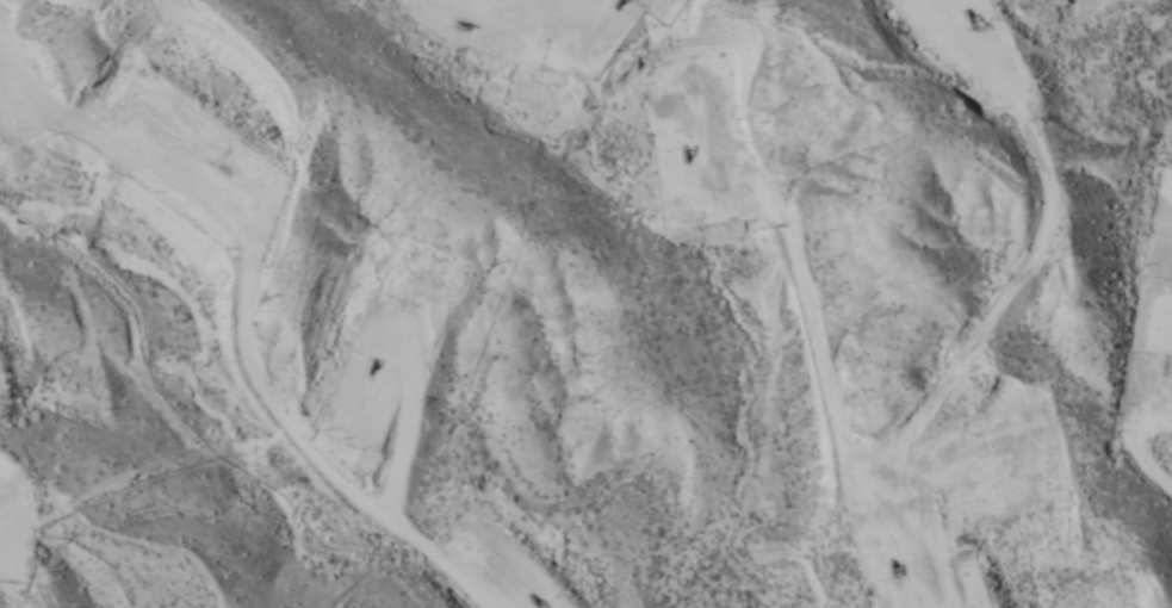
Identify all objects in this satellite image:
road: (942, 287)
road: (191, 343)

